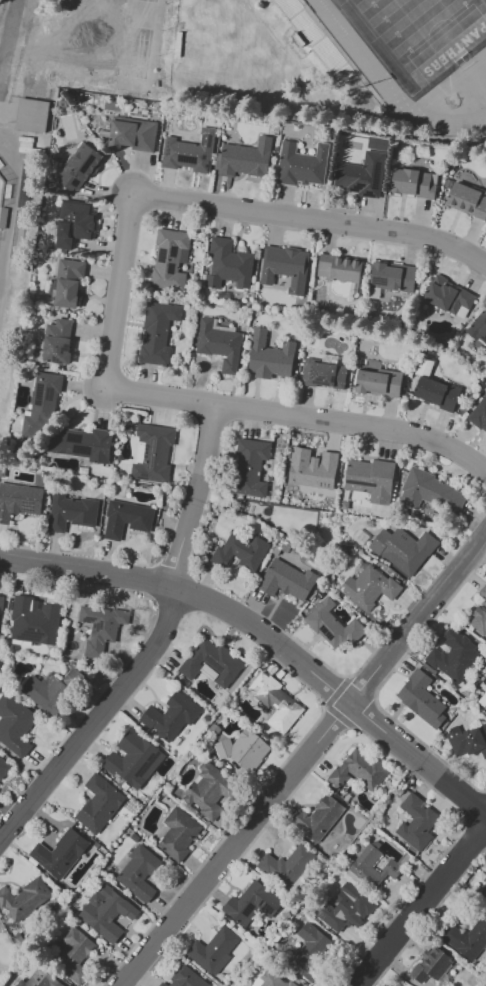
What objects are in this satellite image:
park: (426, 31)
park: (418, 33)
building: (315, 39)
track: (391, 78)
track: (454, 81)
building: (31, 114)
building: (135, 135)
rooftop solar panel: (209, 139)
rooftop solar panel: (203, 140)
rooftop solar panel: (167, 150)
building: (190, 152)
rooftop solar panel: (203, 157)
building: (247, 158)
rooftop solar panel: (187, 159)
building: (303, 164)
rooftop solar panel: (207, 166)
building: (80, 168)
building: (362, 175)
rooftop solar panel: (377, 182)
building: (415, 183)
park: (1, 187)
rooftop solar panel: (358, 187)
rooftop solar panel: (368, 192)
building: (468, 200)
building: (76, 223)
rooftop solar panel: (174, 250)
rooftop solar panel: (161, 254)
rooftop solar panel: (184, 254)
building: (169, 260)
building: (229, 265)
building: (285, 266)
rooftop solar panel: (171, 268)
building: (339, 268)
building: (393, 276)
rooftop solar panel: (380, 281)
building: (70, 282)
building: (449, 296)
road: (120, 303)
building: (479, 327)
building: (158, 334)
building: (57, 343)
building: (221, 344)
rooftop solar panel: (67, 347)
building: (269, 356)
rooftop solar panel: (59, 360)
rooftop solar panel: (315, 371)
building: (323, 374)
rooftop solar panel: (334, 378)
rooftop solar panel: (321, 380)
building: (379, 382)
rooftop solar panel: (66, 386)
building: (434, 389)
rooftop solar panel: (40, 390)
rooftop solar panel: (50, 390)
building: (46, 399)
building: (479, 414)
building: (82, 442)
rooftop solar panel: (63, 448)
rooftop solar panel: (83, 451)
rooftop solar panel: (150, 453)
building: (154, 454)
building: (249, 467)
building: (312, 468)
rooftop solar panel: (21, 473)
building: (369, 479)
building: (431, 492)
building: (18, 500)
rooftop solar panel: (27, 505)
building: (74, 513)
building: (126, 519)
building: (402, 549)
building: (240, 551)
building: (286, 580)
building: (368, 587)
building: (1, 601)
building: (479, 614)
building: (34, 620)
building: (332, 625)
building: (100, 626)
rooftop solar panel: (325, 632)
rooftop solar panel: (32, 634)
road: (265, 635)
road: (157, 649)
building: (453, 655)
building: (211, 662)
building: (51, 690)
building: (421, 698)
building: (274, 701)
building: (484, 706)
building: (170, 715)
building: (14, 723)
building: (468, 740)
building: (243, 749)
building: (133, 758)
road: (307, 762)
building: (4, 767)
building: (358, 770)
building: (209, 790)
building: (98, 803)
building: (318, 818)
building: (417, 822)
building: (177, 833)
building: (59, 852)
building: (287, 865)
building: (372, 867)
building: (138, 872)
building: (482, 892)
building: (23, 898)
building: (251, 903)
rooftop solar panel: (261, 904)
rooftop solar panel: (267, 906)
road: (422, 906)
building: (345, 908)
building: (106, 911)
rooftop solar panel: (247, 911)
building: (466, 938)
building: (214, 950)
building: (310, 950)
building: (71, 953)
building: (431, 964)
building: (184, 978)
building: (38, 979)
building: (274, 979)

